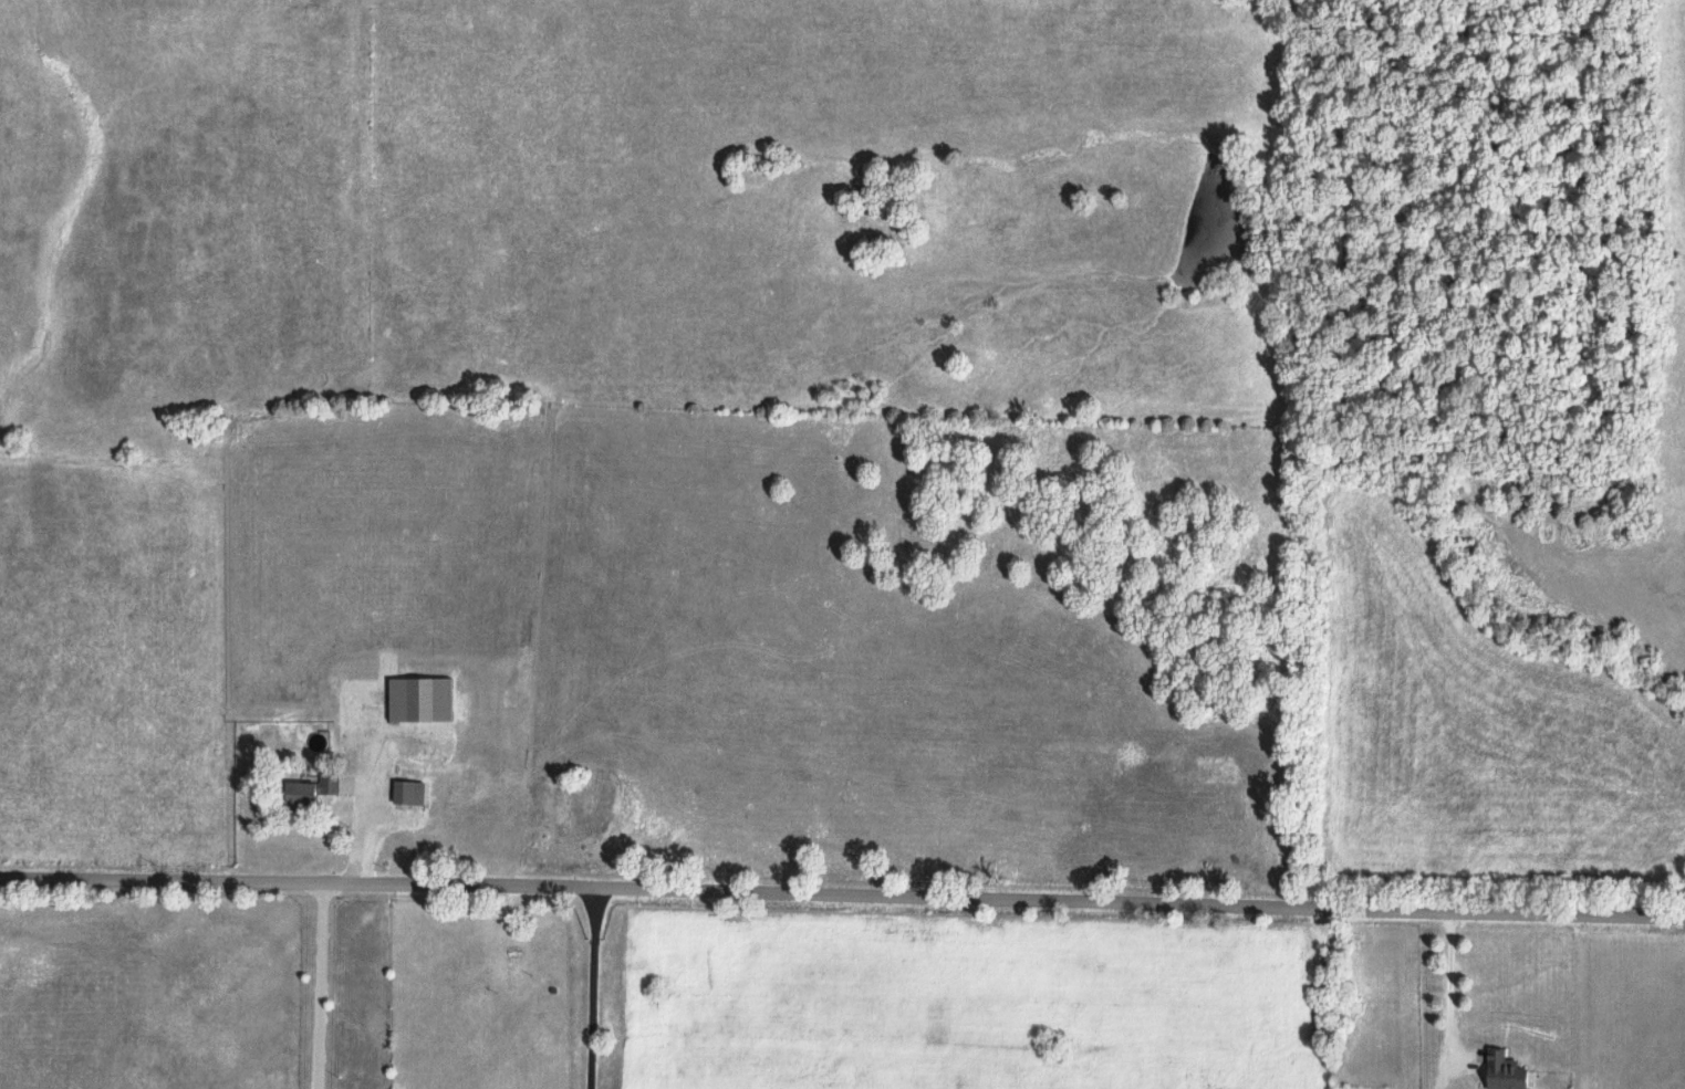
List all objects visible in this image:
building: (417, 697)
building: (327, 782)
building: (295, 792)
building: (406, 792)
road: (384, 823)
road: (842, 892)
road: (329, 984)
road: (595, 986)
road: (1452, 991)
road: (1340, 996)
building: (1501, 1070)

